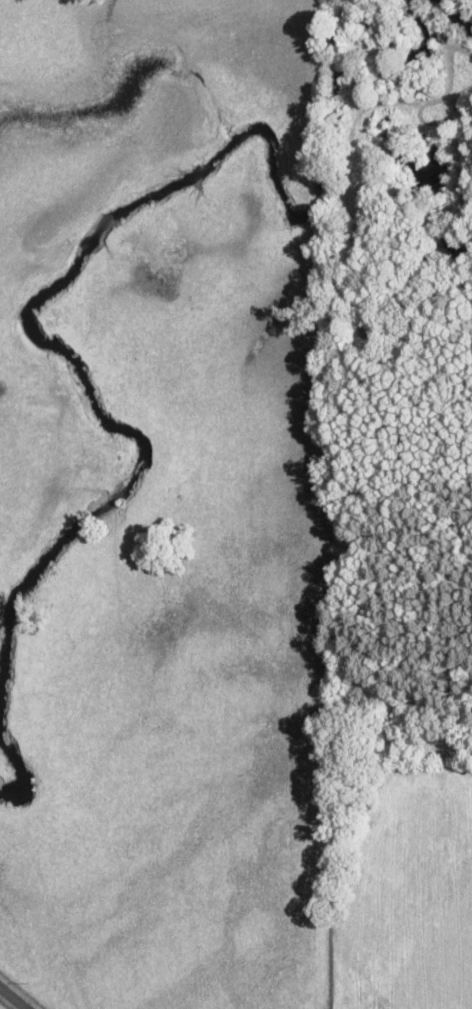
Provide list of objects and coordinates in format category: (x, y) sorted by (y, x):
road: (12, 998)

